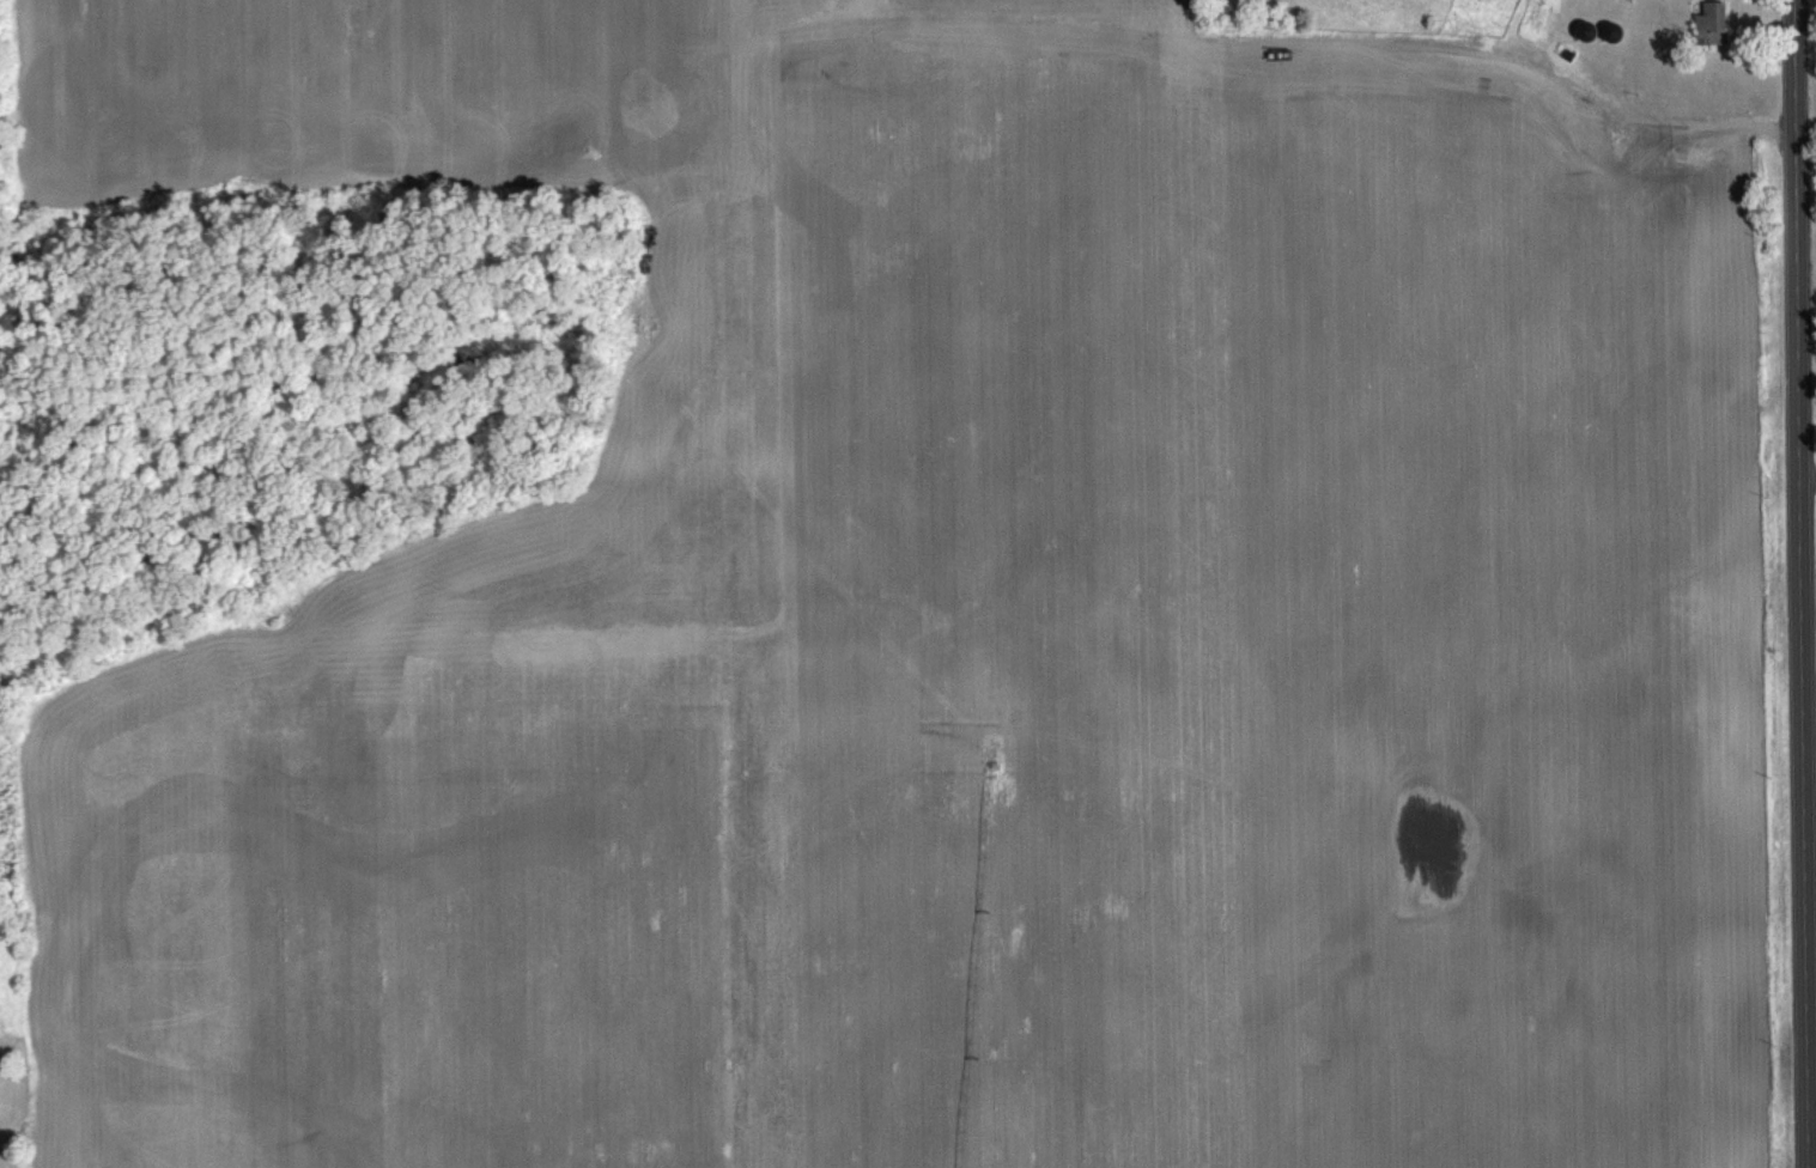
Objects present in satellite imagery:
building: (1708, 24)
road: (1804, 584)

